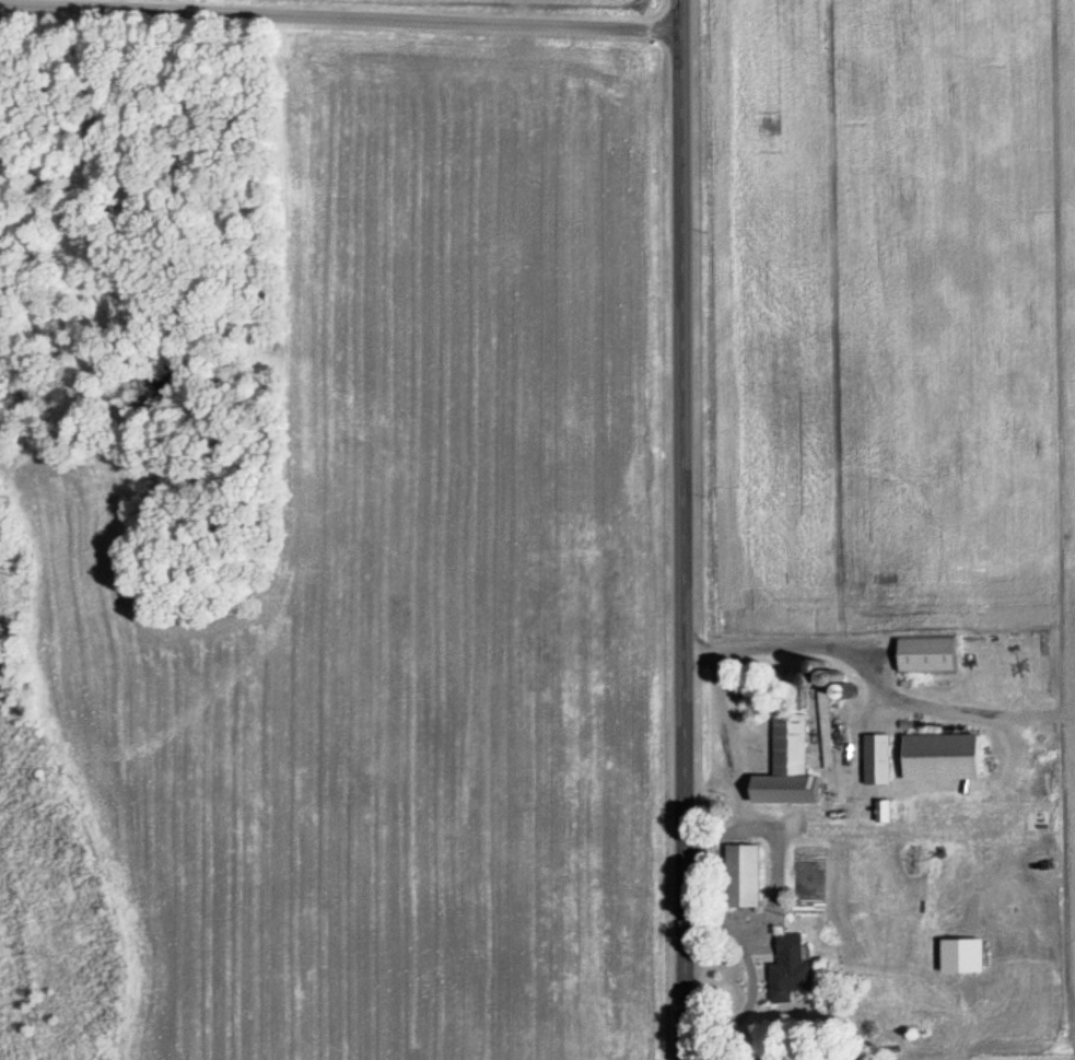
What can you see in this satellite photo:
road: (340, 13)
road: (683, 529)
building: (928, 654)
building: (944, 757)
building: (879, 758)
building: (790, 765)
building: (744, 874)
building: (792, 968)

